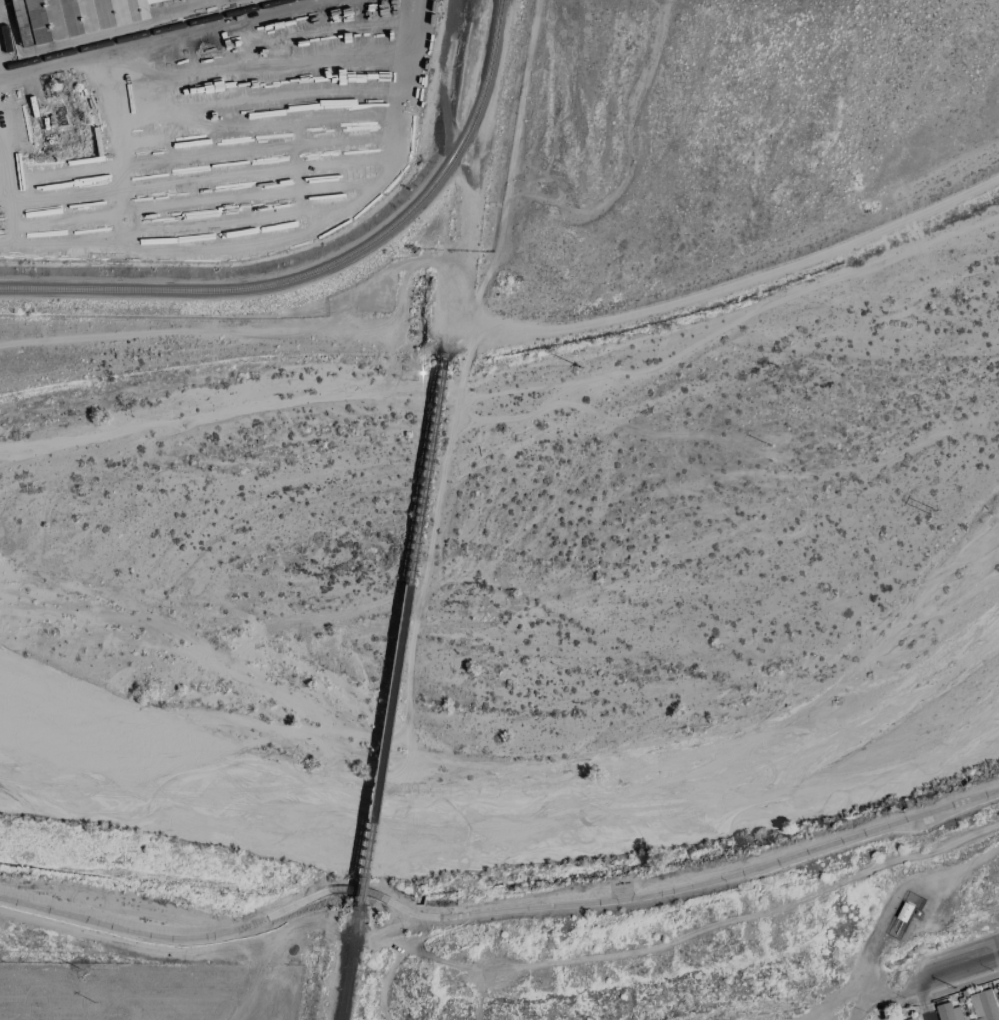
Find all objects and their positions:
building: (73, 17)
railway: (157, 32)
building: (87, 38)
river: (507, 601)
road: (498, 911)
road: (958, 960)
railway: (347, 965)
road: (910, 978)
road: (921, 988)
building: (998, 988)
road: (837, 998)
building: (984, 1005)
road: (928, 1011)
building: (948, 1012)
building: (916, 1019)

